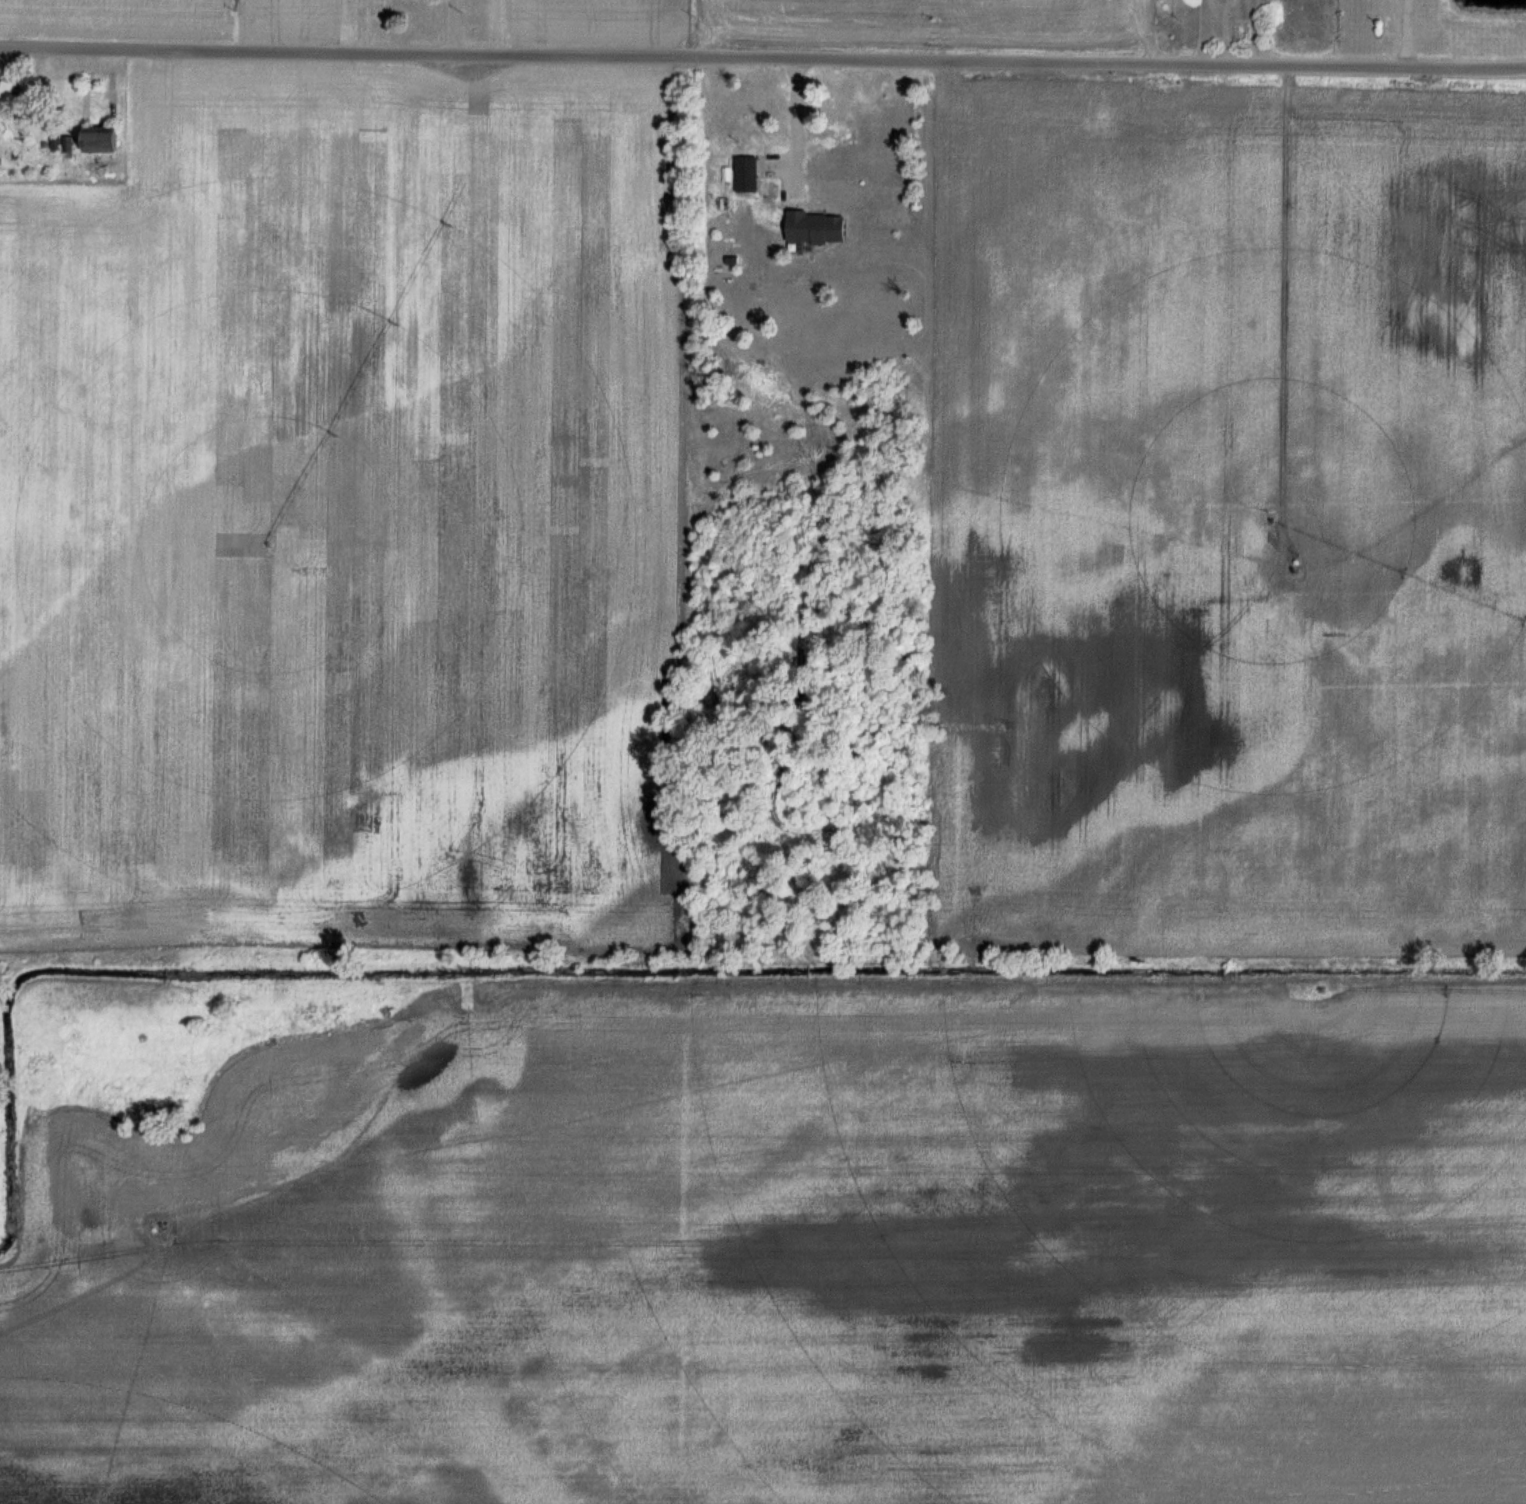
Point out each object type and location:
road: (452, 26)
road: (1399, 32)
road: (763, 55)
building: (15, 97)
road: (796, 125)
building: (106, 139)
building: (748, 173)
building: (818, 227)

